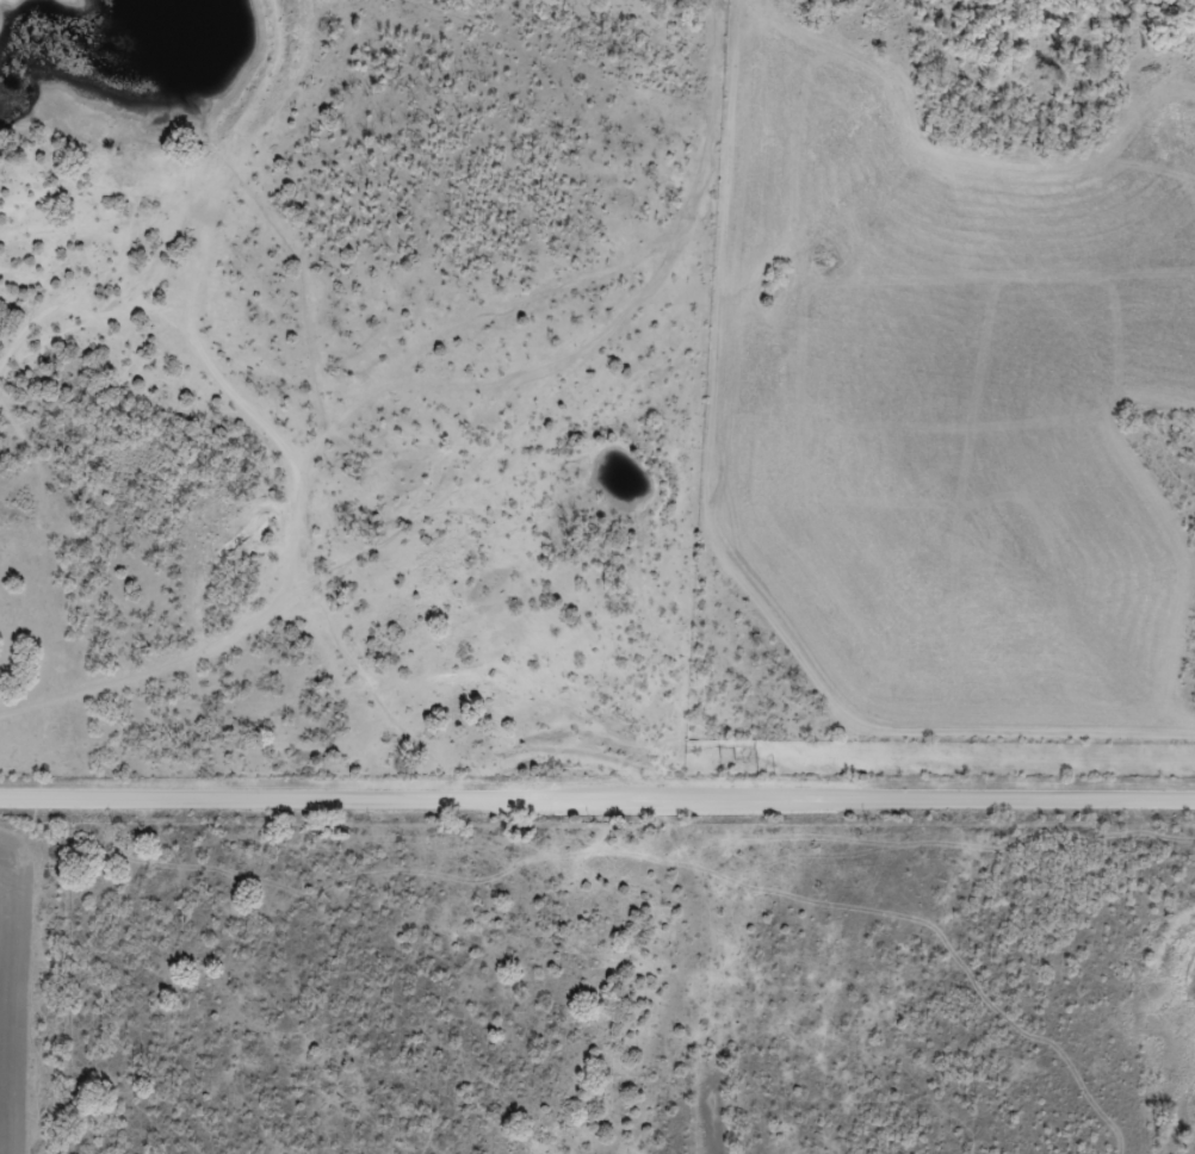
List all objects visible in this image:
road: (596, 820)

